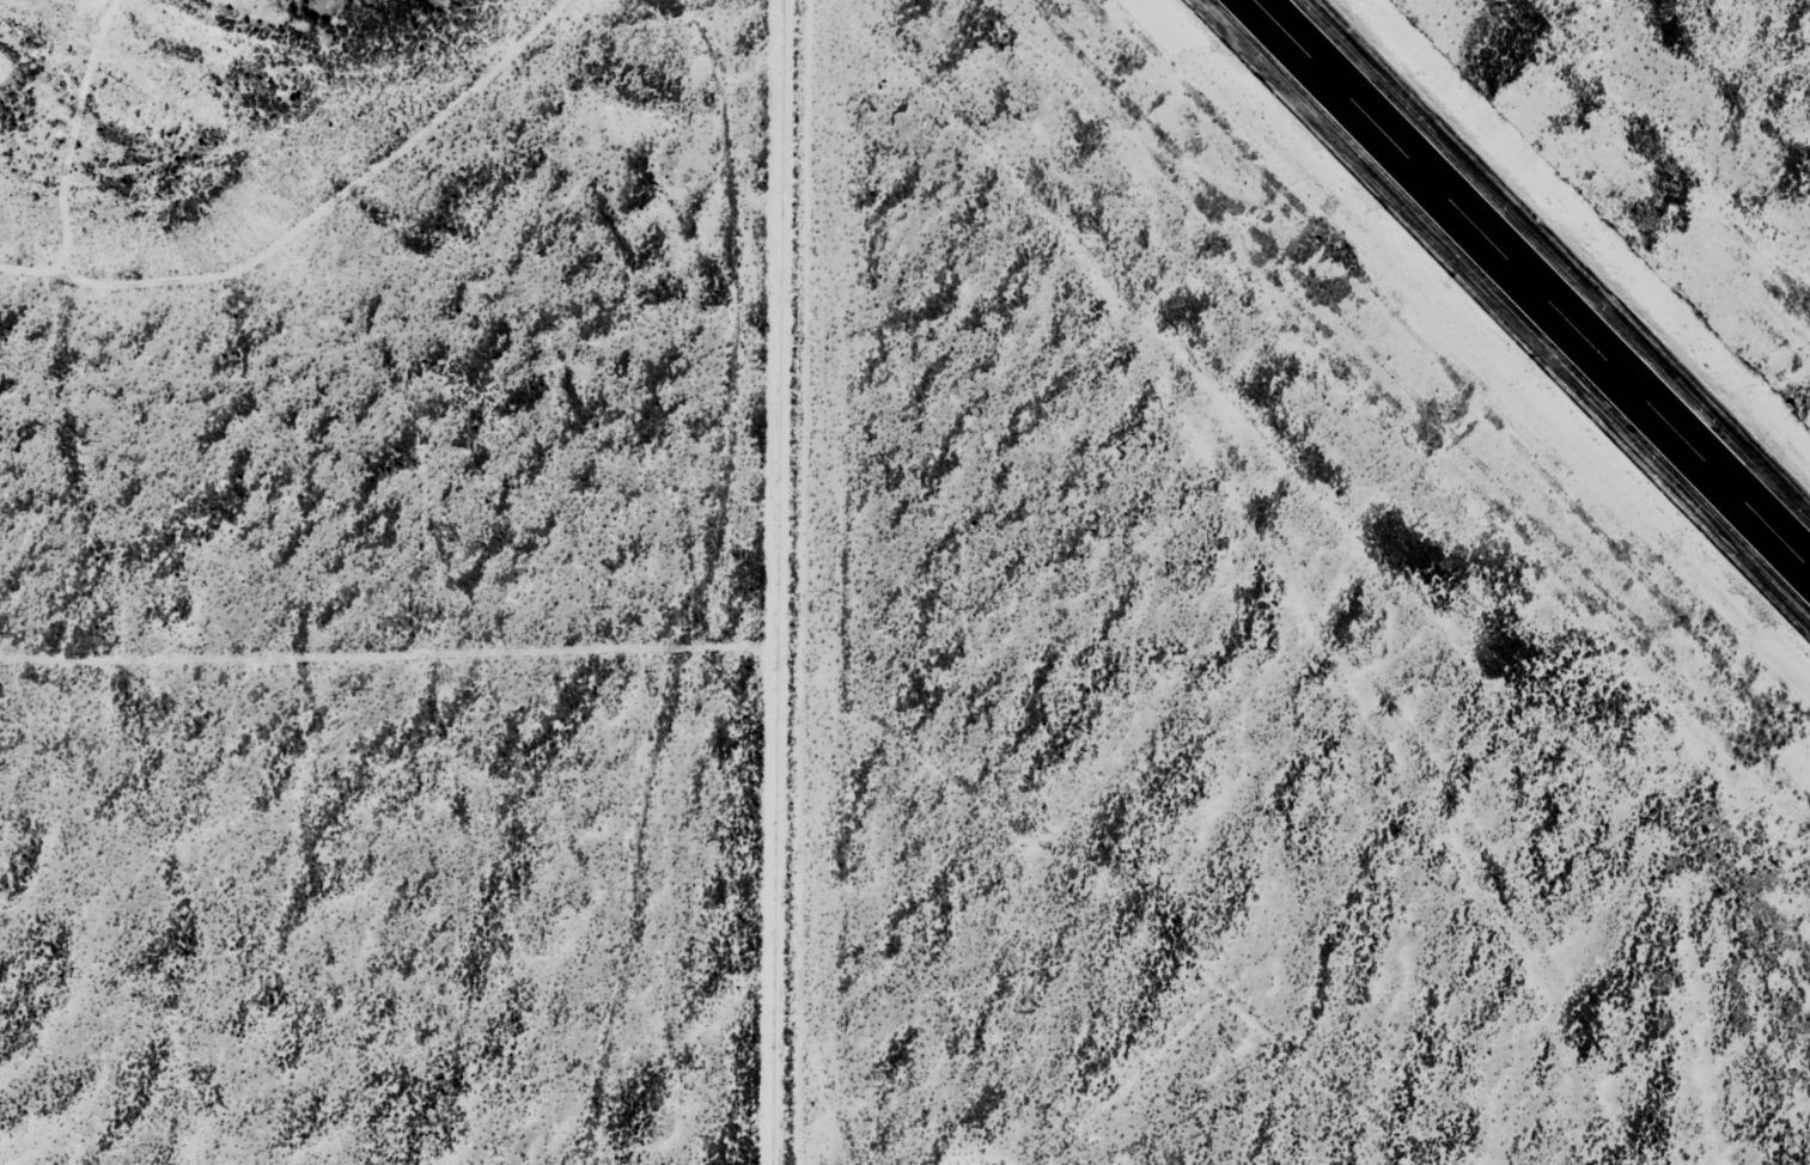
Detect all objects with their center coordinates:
airport runway: (1531, 285)
road: (770, 582)

